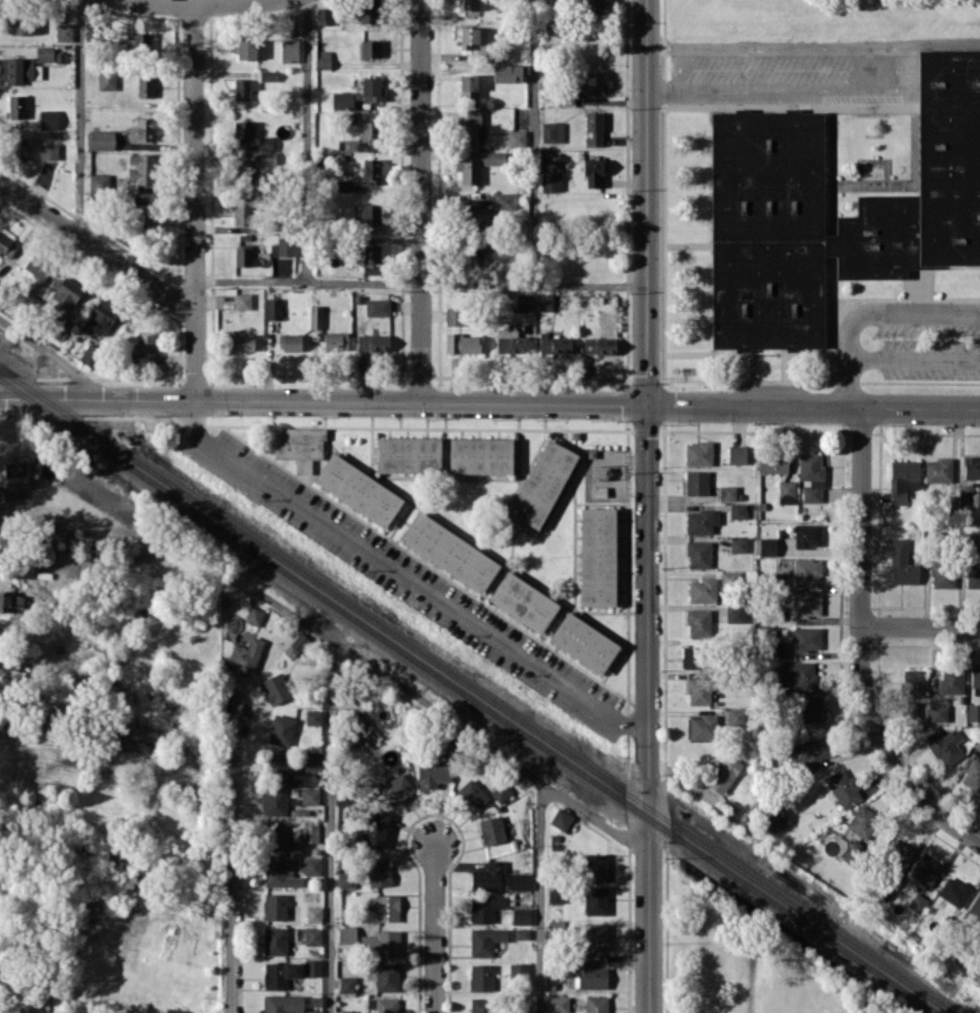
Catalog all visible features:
building: (469, 4)
road: (197, 5)
building: (593, 6)
building: (369, 11)
building: (324, 16)
building: (20, 24)
building: (64, 31)
building: (472, 36)
road: (936, 39)
building: (141, 43)
road: (770, 47)
building: (371, 48)
building: (246, 49)
building: (289, 50)
building: (45, 53)
road: (894, 68)
building: (19, 70)
building: (507, 73)
building: (268, 75)
building: (107, 80)
building: (595, 82)
building: (468, 85)
building: (145, 86)
building: (372, 87)
road: (770, 88)
building: (242, 89)
building: (342, 99)
building: (16, 106)
road: (78, 118)
building: (48, 119)
building: (469, 125)
building: (368, 128)
building: (593, 128)
building: (243, 129)
building: (143, 130)
building: (552, 131)
building: (516, 138)
building: (102, 140)
road: (307, 140)
road: (533, 142)
building: (354, 145)
building: (20, 148)
building: (266, 150)
building: (48, 151)
building: (477, 164)
building: (141, 169)
building: (243, 170)
building: (371, 170)
building: (592, 172)
building: (551, 180)
building: (342, 185)
road: (420, 200)
building: (505, 200)
road: (194, 203)
building: (918, 205)
building: (245, 209)
building: (370, 213)
building: (142, 214)
building: (475, 216)
building: (7, 246)
building: (282, 247)
road: (97, 248)
building: (243, 255)
building: (468, 256)
building: (371, 258)
building: (37, 270)
road: (421, 282)
building: (67, 292)
building: (242, 300)
building: (544, 301)
building: (524, 302)
building: (377, 306)
building: (273, 308)
road: (870, 309)
building: (103, 314)
building: (315, 316)
building: (453, 316)
building: (59, 329)
building: (335, 340)
building: (145, 341)
building: (244, 341)
building: (291, 342)
building: (373, 342)
building: (510, 342)
building: (462, 343)
building: (554, 344)
building: (599, 345)
building: (89, 353)
road: (55, 358)
road: (915, 360)
road: (490, 401)
building: (298, 445)
building: (698, 453)
building: (409, 454)
building: (737, 454)
building: (480, 455)
building: (774, 462)
building: (972, 467)
building: (938, 470)
building: (14, 471)
building: (811, 476)
building: (902, 479)
building: (697, 482)
building: (542, 483)
building: (358, 489)
building: (786, 491)
building: (728, 492)
building: (966, 500)
road: (647, 506)
building: (738, 510)
road: (861, 516)
building: (701, 521)
building: (807, 535)
building: (738, 545)
building: (767, 546)
building: (449, 551)
building: (698, 554)
building: (597, 556)
building: (902, 563)
building: (806, 572)
building: (971, 573)
building: (942, 574)
road: (406, 578)
building: (726, 578)
building: (702, 590)
building: (523, 601)
building: (11, 602)
building: (807, 604)
building: (735, 614)
building: (254, 615)
building: (698, 621)
road: (921, 626)
building: (806, 638)
building: (583, 642)
building: (298, 643)
building: (245, 655)
building: (692, 656)
building: (799, 673)
building: (975, 676)
building: (951, 681)
building: (914, 682)
building: (276, 688)
building: (698, 690)
railway: (477, 691)
railway: (465, 698)
building: (812, 709)
building: (938, 712)
building: (973, 712)
building: (735, 716)
building: (314, 717)
road: (450, 718)
building: (701, 727)
building: (281, 729)
building: (944, 745)
road: (887, 751)
building: (810, 752)
building: (313, 762)
building: (282, 767)
building: (433, 773)
building: (723, 774)
building: (972, 775)
building: (843, 787)
building: (396, 788)
building: (501, 791)
building: (472, 794)
building: (310, 796)
building: (273, 801)
building: (561, 819)
building: (774, 819)
building: (861, 820)
road: (330, 829)
building: (374, 829)
building: (492, 829)
building: (310, 833)
building: (277, 837)
building: (898, 858)
road: (230, 862)
building: (310, 865)
building: (595, 867)
building: (925, 868)
building: (378, 872)
building: (280, 873)
building: (487, 876)
building: (346, 880)
building: (520, 881)
building: (954, 891)
building: (556, 894)
road: (539, 898)
building: (595, 900)
building: (917, 902)
building: (274, 906)
building: (484, 907)
building: (387, 908)
building: (974, 911)
building: (314, 913)
building: (521, 915)
road: (434, 928)
building: (555, 929)
building: (521, 933)
building: (347, 934)
building: (312, 936)
building: (596, 937)
building: (275, 940)
building: (485, 940)
building: (380, 944)
building: (312, 967)
building: (518, 970)
building: (279, 973)
building: (590, 975)
building: (387, 976)
building: (481, 976)
building: (347, 984)
road: (28, 995)
building: (283, 1003)
building: (596, 1003)
building: (558, 1004)
building: (383, 1005)
building: (481, 1005)
building: (173, 1010)
building: (313, 1011)
building: (347, 1011)
building: (29, 1012)
building: (522, 1012)

